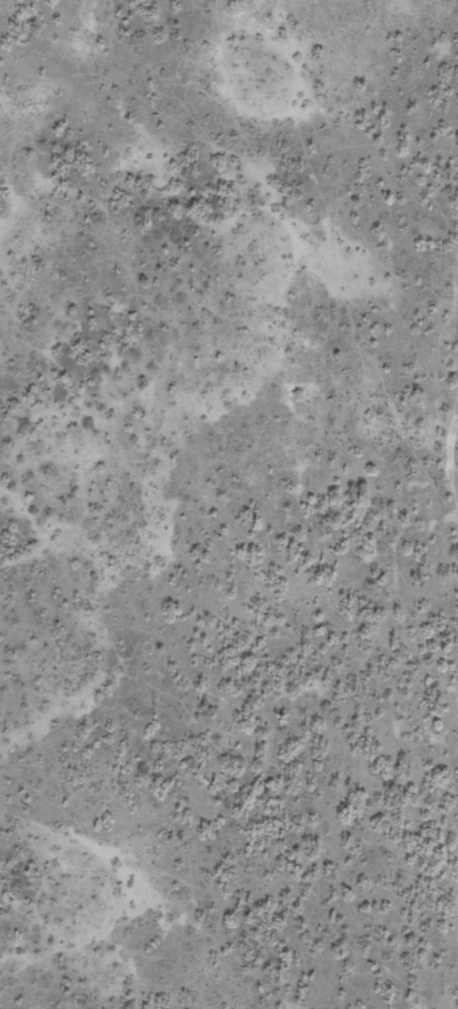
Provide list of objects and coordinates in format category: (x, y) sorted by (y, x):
road: (451, 525)

